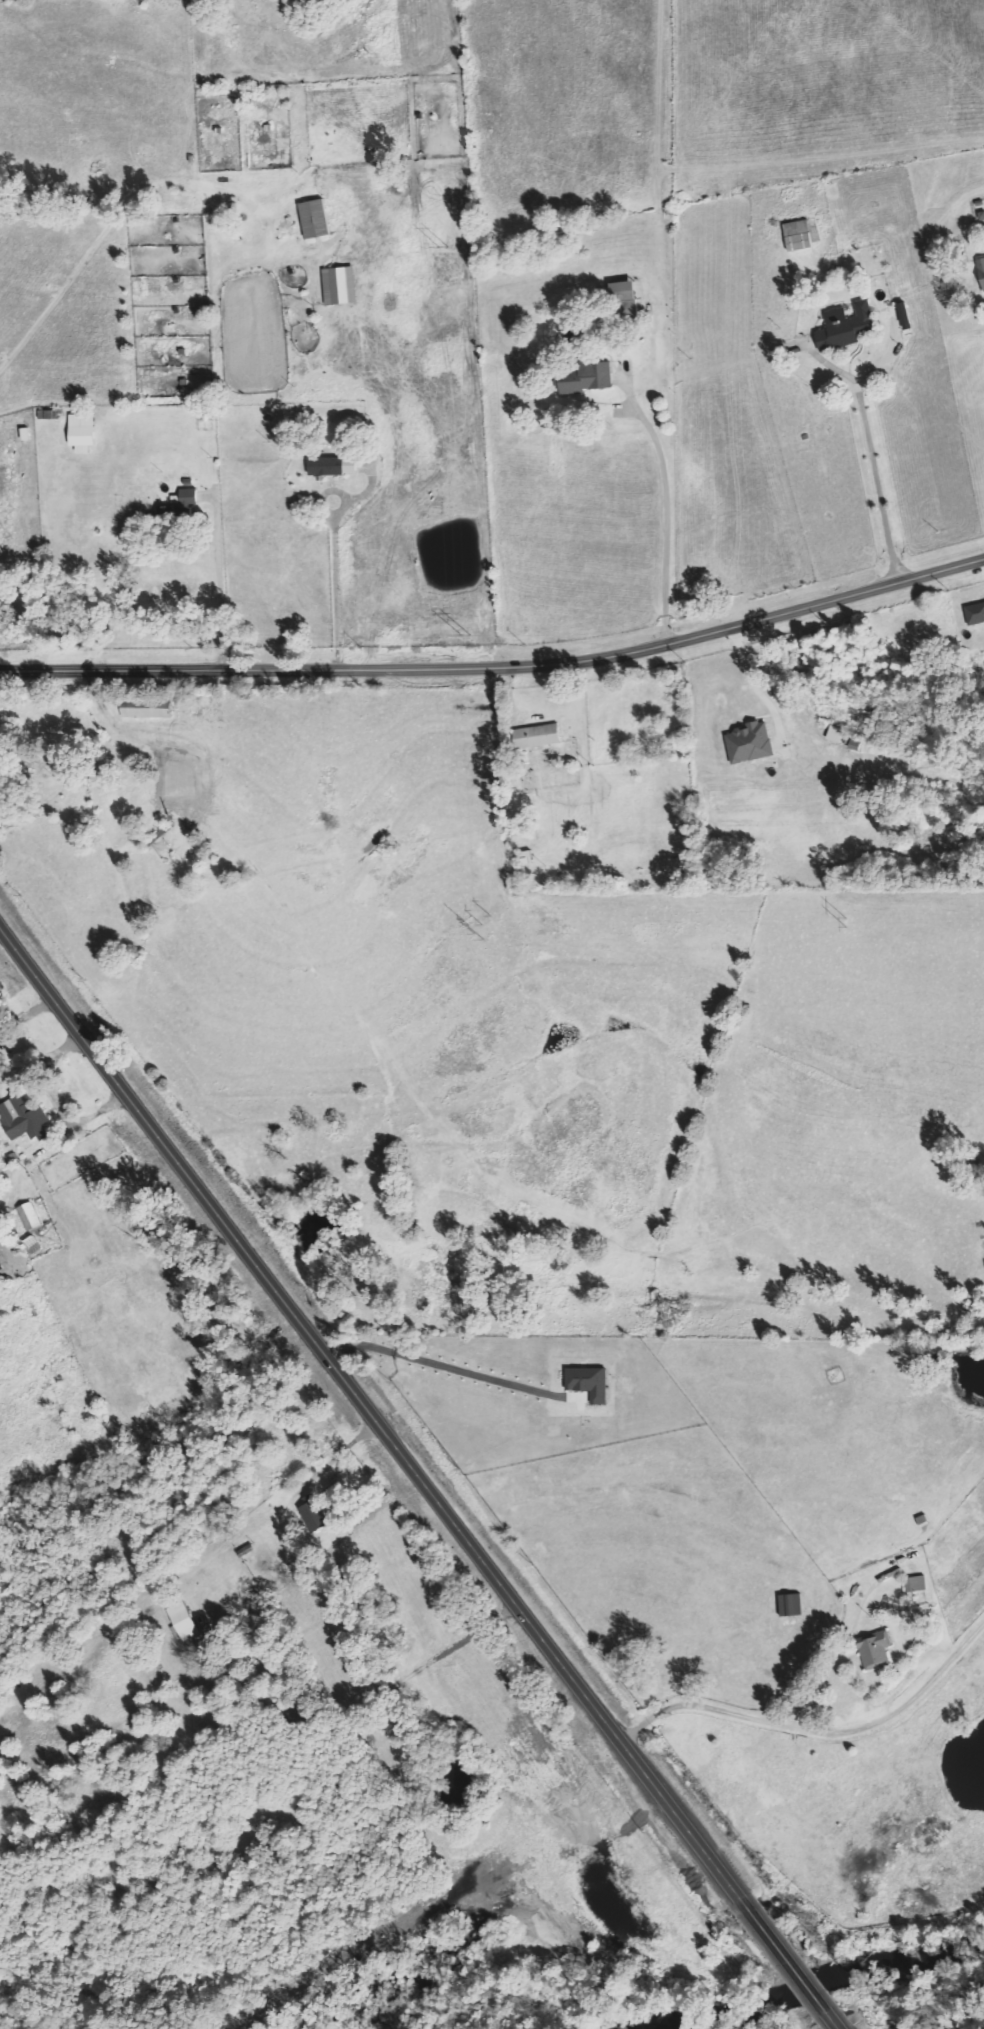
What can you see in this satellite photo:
building: (313, 218)
building: (797, 235)
building: (980, 272)
building: (338, 285)
building: (620, 290)
building: (845, 326)
building: (584, 378)
building: (81, 432)
building: (24, 434)
road: (877, 458)
building: (331, 465)
road: (213, 585)
building: (974, 614)
road: (498, 667)
building: (144, 713)
building: (535, 736)
building: (748, 743)
building: (523, 857)
building: (22, 1118)
building: (28, 1215)
building: (587, 1382)
road: (365, 1410)
building: (313, 1512)
building: (915, 1584)
building: (789, 1605)
building: (182, 1621)
building: (874, 1650)
road: (783, 1960)
road: (835, 2027)

